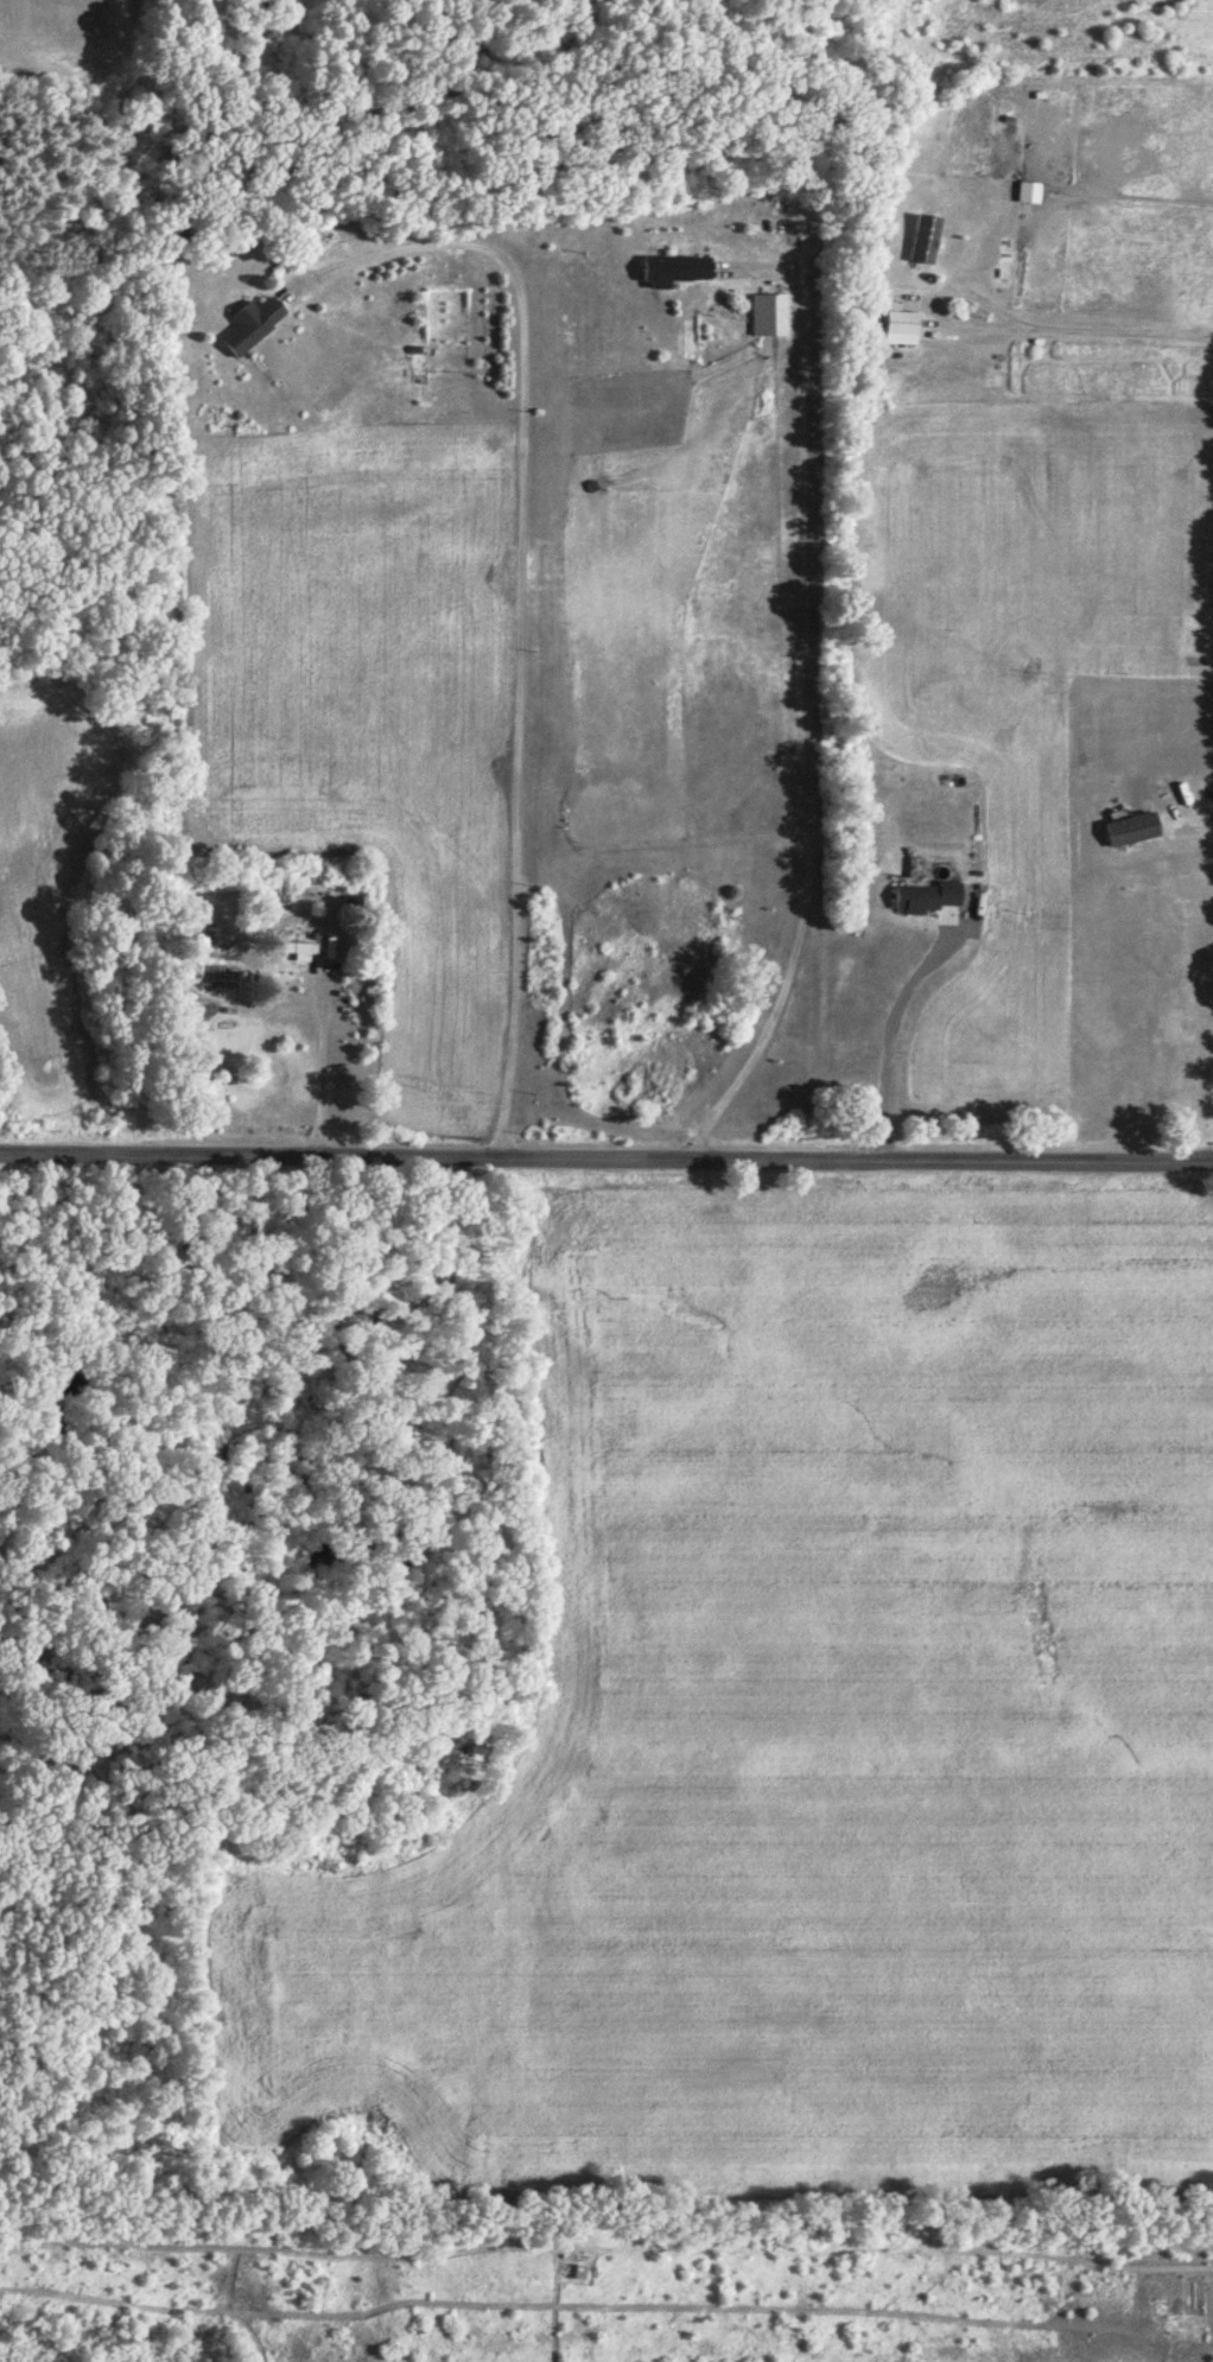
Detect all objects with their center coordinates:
building: (1031, 190)
building: (926, 236)
building: (678, 268)
building: (770, 313)
building: (256, 322)
building: (904, 326)
building: (1133, 828)
building: (928, 896)
building: (306, 950)
road: (605, 1166)

